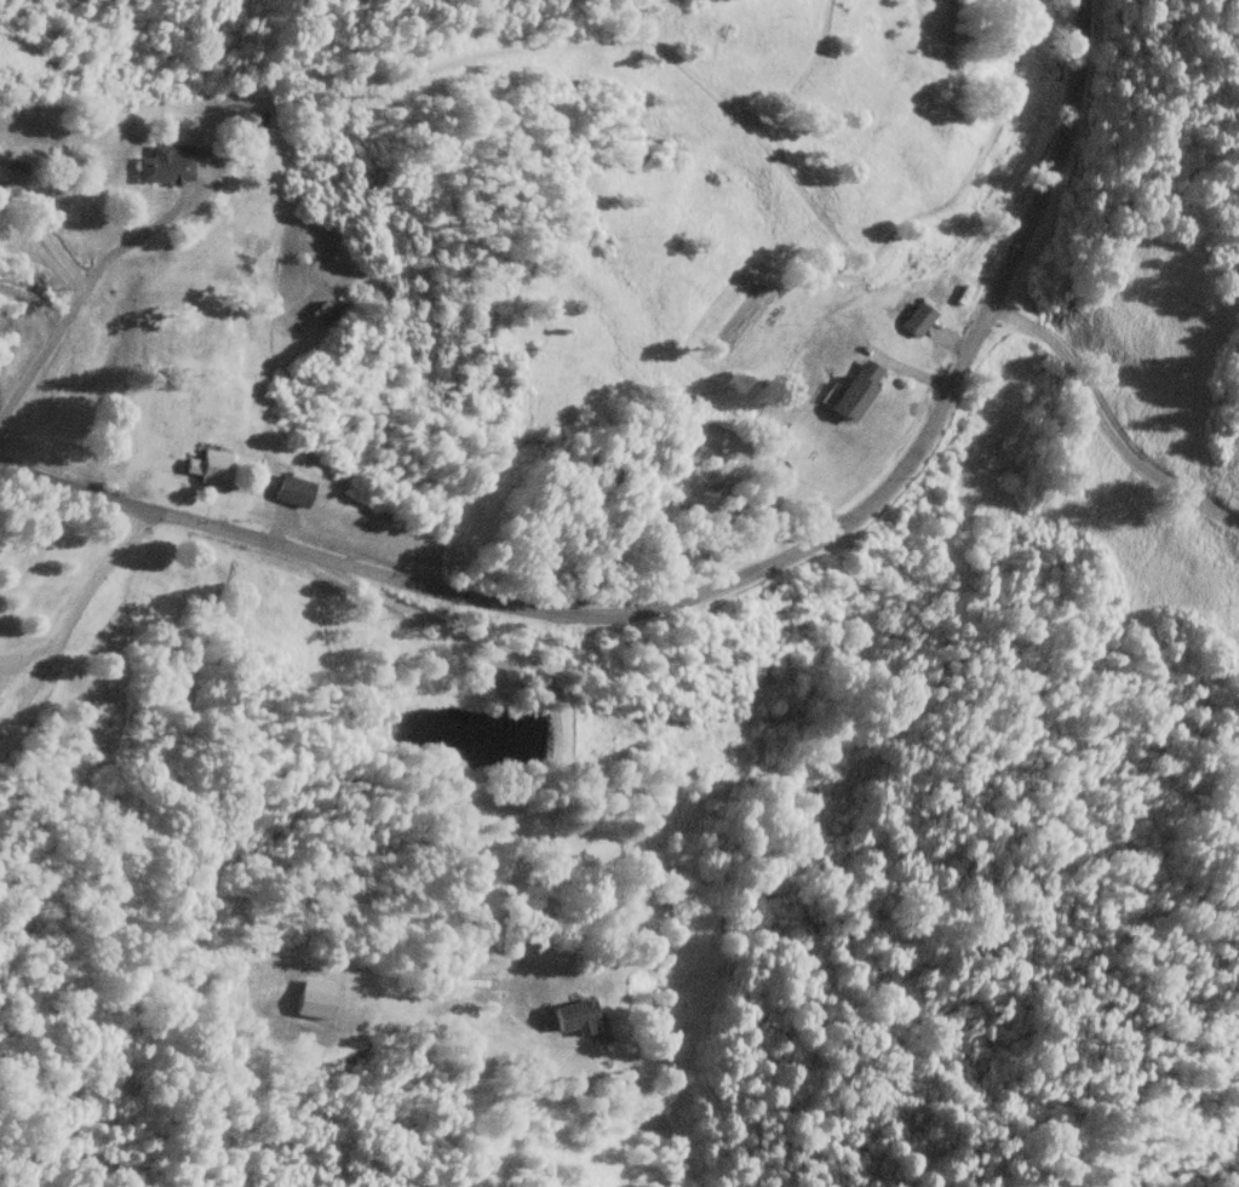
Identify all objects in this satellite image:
road: (1083, 101)
road: (84, 288)
road: (1102, 423)
road: (615, 615)
road: (71, 618)
road: (560, 736)

